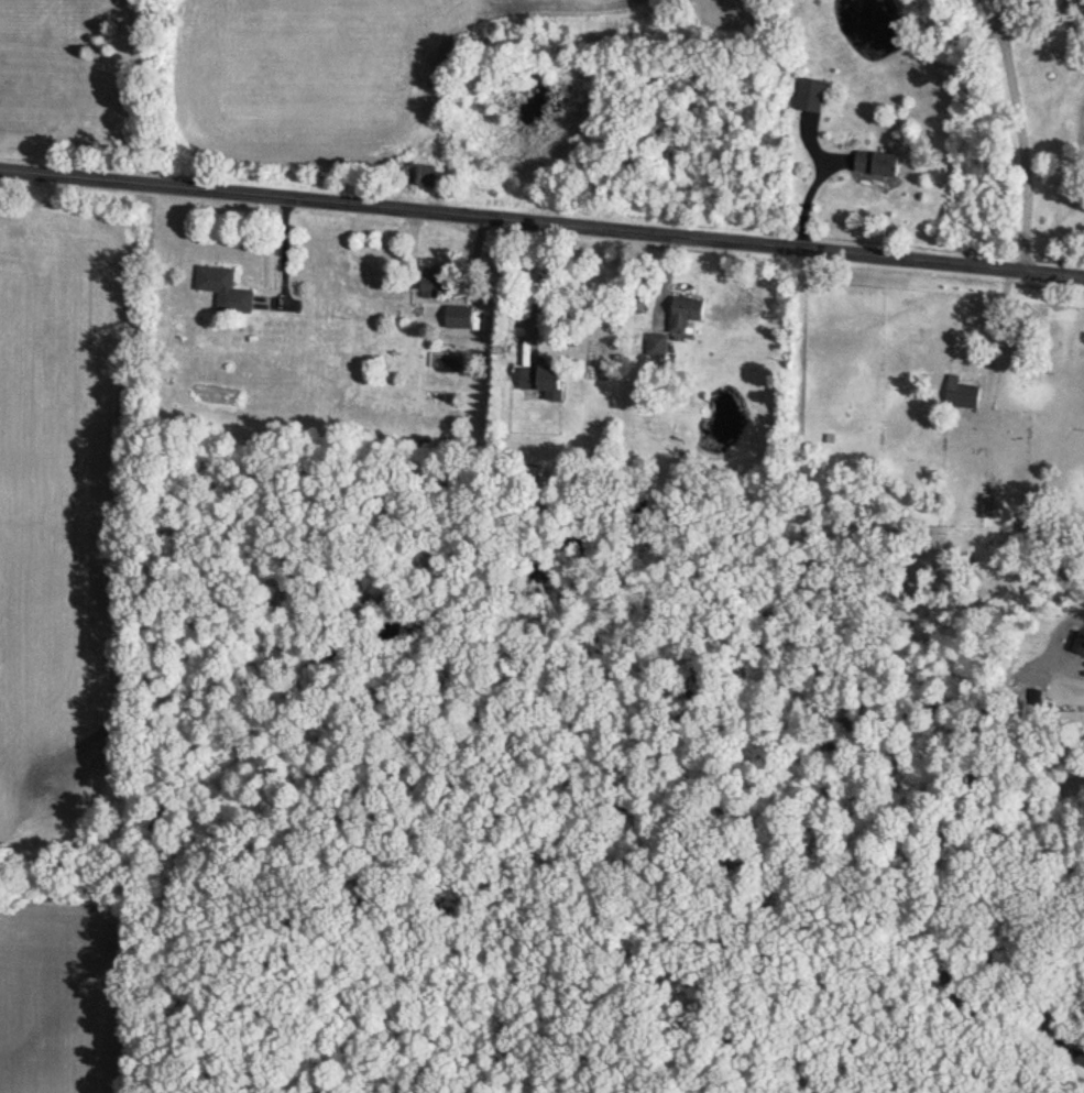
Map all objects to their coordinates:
building: (814, 95)
road: (1026, 145)
building: (879, 164)
building: (418, 174)
road: (810, 201)
road: (541, 230)
building: (440, 284)
road: (538, 287)
building: (226, 289)
building: (687, 313)
building: (461, 317)
building: (657, 345)
building: (545, 381)
building: (963, 397)
building: (990, 506)
road: (1059, 969)

